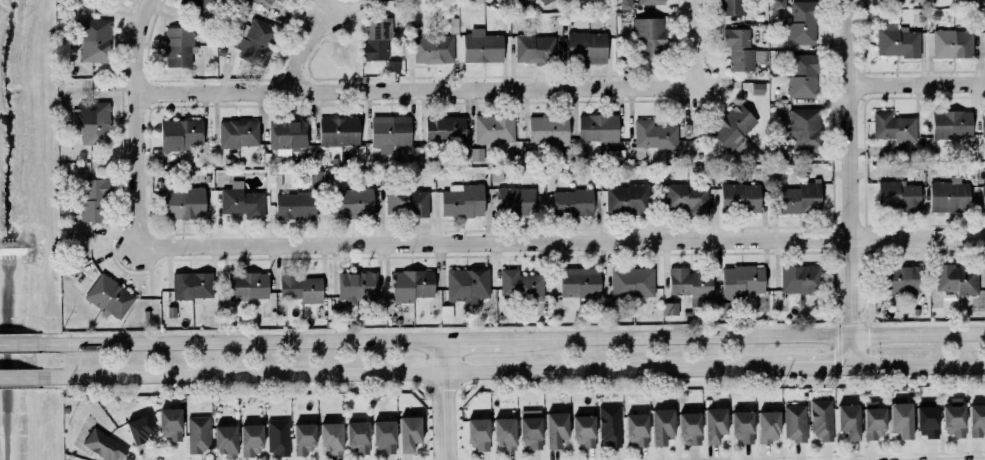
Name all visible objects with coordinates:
building: (283, 0)
building: (930, 0)
building: (543, 1)
building: (651, 2)
building: (257, 3)
building: (199, 4)
building: (625, 4)
building: (779, 4)
building: (76, 5)
building: (731, 7)
building: (802, 22)
building: (650, 37)
building: (376, 39)
building: (94, 40)
building: (256, 41)
building: (898, 41)
road: (693, 43)
building: (953, 43)
building: (584, 45)
building: (178, 46)
building: (483, 47)
road: (307, 48)
building: (535, 48)
building: (433, 49)
building: (742, 49)
building: (804, 75)
road: (918, 83)
road: (416, 88)
building: (757, 88)
building: (93, 121)
road: (139, 121)
building: (952, 123)
building: (983, 123)
building: (733, 126)
building: (597, 127)
building: (894, 127)
building: (388, 128)
building: (444, 128)
building: (494, 129)
building: (548, 129)
building: (338, 130)
building: (805, 130)
building: (178, 132)
building: (238, 132)
building: (288, 135)
building: (652, 137)
building: (477, 154)
building: (614, 154)
road: (864, 162)
road: (828, 173)
road: (868, 173)
building: (315, 179)
building: (275, 181)
road: (850, 182)
building: (899, 194)
building: (949, 194)
building: (739, 196)
building: (800, 196)
building: (983, 196)
building: (687, 197)
building: (94, 199)
building: (627, 199)
building: (241, 200)
building: (463, 200)
building: (514, 200)
road: (833, 201)
building: (183, 202)
building: (353, 202)
building: (407, 202)
building: (572, 202)
road: (764, 204)
building: (295, 205)
road: (775, 206)
road: (925, 213)
road: (976, 213)
road: (980, 213)
street lamp: (841, 215)
road: (794, 226)
road: (849, 226)
road: (865, 226)
road: (864, 237)
road: (835, 238)
road: (561, 241)
road: (849, 248)
road: (865, 249)
road: (890, 249)
road: (790, 251)
road: (984, 257)
road: (984, 262)
road: (778, 273)
road: (766, 274)
building: (800, 278)
building: (898, 278)
building: (957, 278)
building: (742, 280)
building: (578, 281)
building: (632, 281)
building: (690, 282)
building: (467, 283)
building: (247, 284)
building: (356, 284)
building: (410, 284)
building: (521, 284)
building: (192, 285)
building: (300, 286)
road: (834, 286)
building: (110, 295)
road: (830, 301)
road: (867, 304)
building: (670, 308)
building: (722, 308)
street lamp: (860, 310)
building: (446, 312)
traffic signals: (851, 331)
road: (746, 333)
road: (839, 333)
road: (476, 339)
road: (243, 341)
road: (21, 343)
road: (918, 365)
traffic signals: (851, 366)
road: (816, 367)
road: (410, 373)
street lamp: (871, 376)
road: (20, 378)
road: (444, 399)
building: (954, 417)
building: (822, 418)
building: (927, 418)
building: (901, 419)
building: (849, 420)
building: (874, 420)
building: (977, 420)
building: (795, 422)
building: (170, 423)
building: (715, 424)
building: (610, 425)
building: (662, 426)
building: (743, 426)
building: (768, 426)
building: (689, 427)
building: (531, 428)
building: (139, 429)
building: (556, 429)
building: (636, 429)
building: (584, 430)
building: (198, 433)
building: (409, 433)
building: (478, 433)
building: (504, 433)
building: (277, 436)
building: (358, 436)
building: (384, 436)
building: (331, 437)
building: (304, 438)
building: (251, 439)
building: (225, 440)
building: (105, 445)
road: (155, 451)
road: (795, 455)
road: (425, 459)
road: (427, 459)
road: (459, 459)
road: (462, 459)

